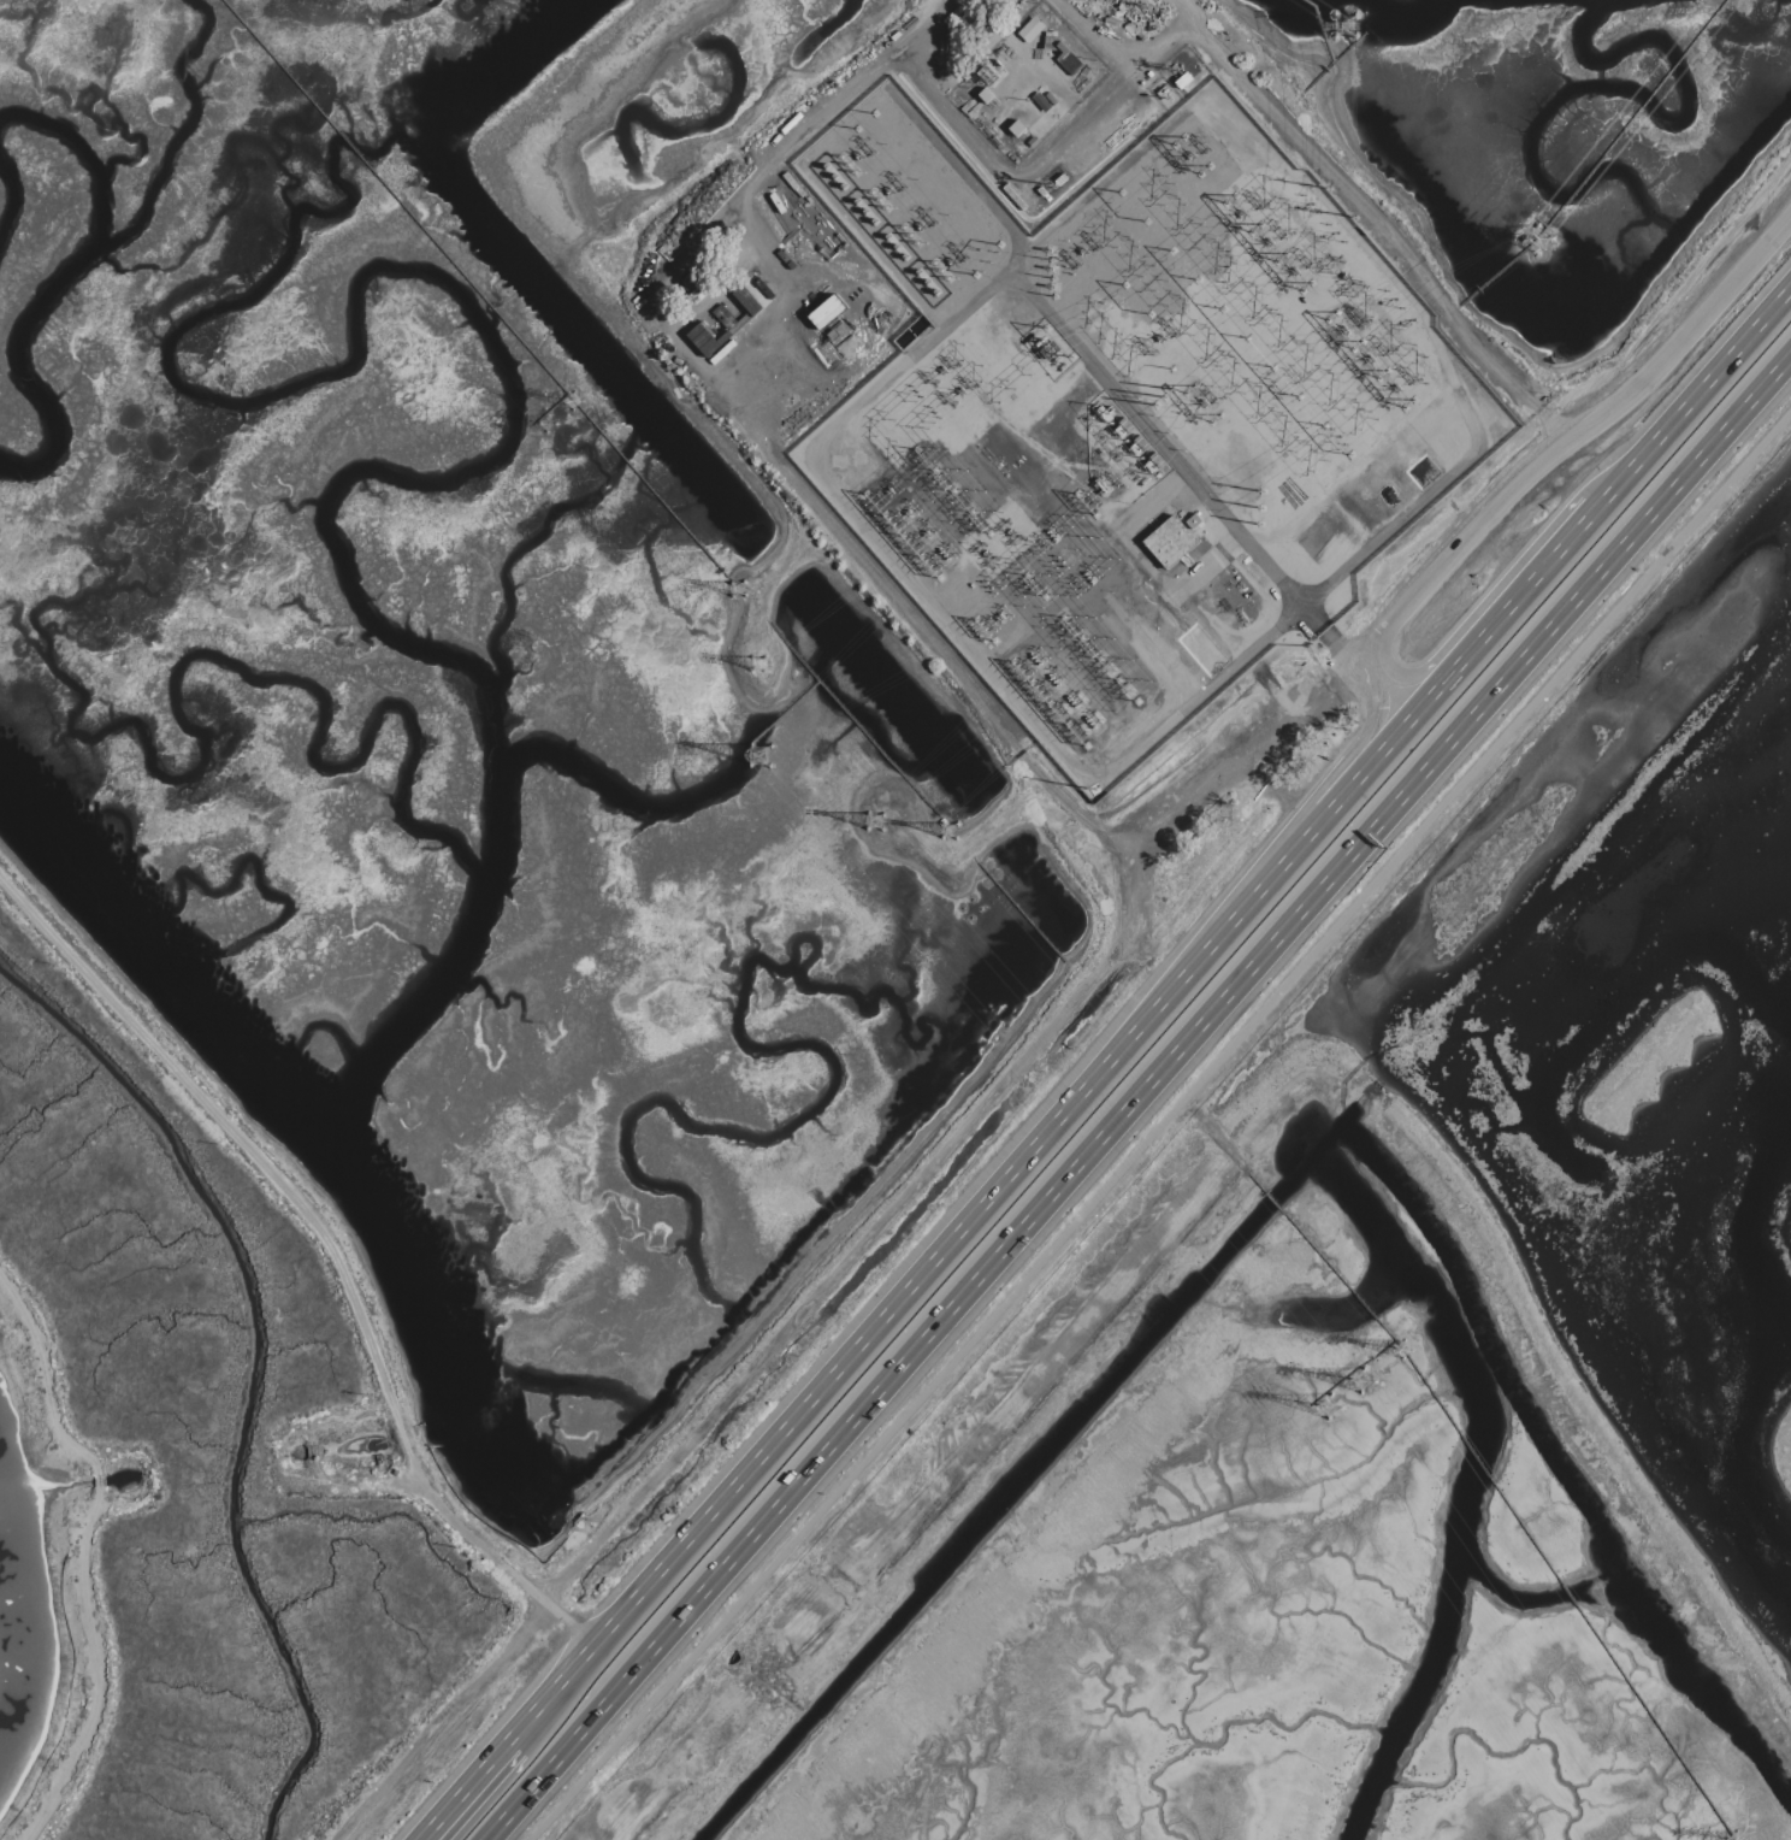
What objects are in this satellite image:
power tower: (1344, 23)
building: (1029, 30)
road: (1319, 169)
road: (965, 178)
power tower: (1537, 241)
power tower: (1311, 244)
building: (826, 312)
power tower: (1349, 349)
road: (910, 364)
road: (702, 365)
road: (1695, 397)
power tower: (572, 406)
power substation: (1131, 418)
power tower: (552, 427)
road: (1572, 441)
road: (1186, 474)
power tower: (882, 513)
building: (1169, 543)
power tower: (918, 550)
road: (1332, 583)
power tower: (739, 592)
road: (1486, 601)
road: (1461, 661)
power tower: (761, 665)
road: (1359, 743)
power tower: (762, 753)
road: (1184, 786)
power tower: (876, 819)
power tower: (948, 832)
road: (1141, 1102)
road: (1164, 1128)
road: (292, 1192)
road: (852, 1250)
road: (918, 1281)
power tower: (1408, 1355)
power tower: (1364, 1381)
power tower: (1334, 1408)
road: (81, 1532)
road: (571, 1621)
road: (471, 1792)

